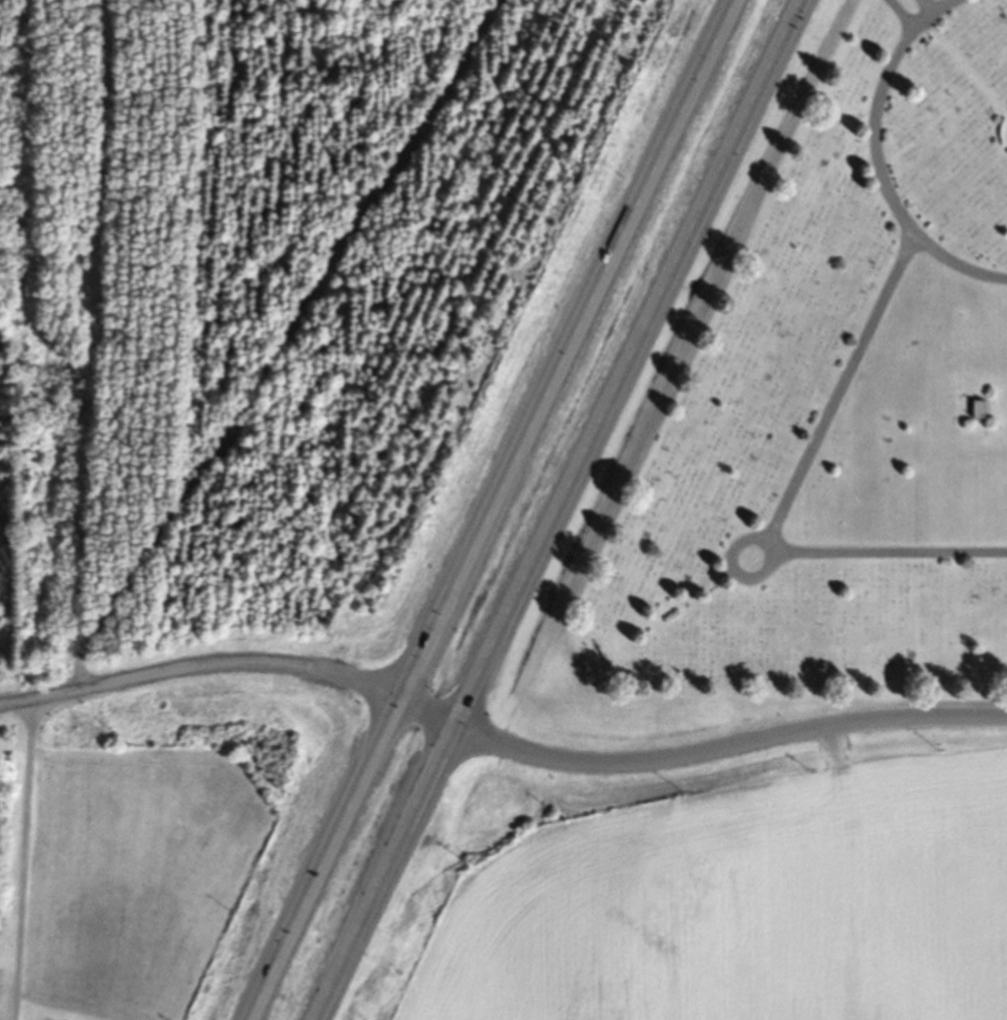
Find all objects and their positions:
road: (932, 7)
road: (909, 14)
road: (932, 19)
road: (898, 207)
road: (843, 387)
park: (820, 412)
building: (976, 412)
road: (557, 509)
road: (486, 511)
road: (897, 559)
road: (739, 562)
road: (199, 665)
road: (697, 754)
road: (21, 858)

